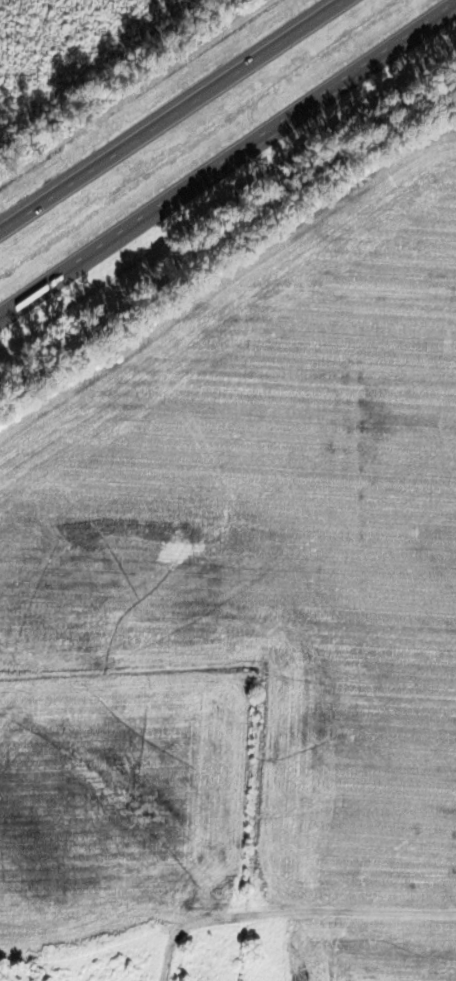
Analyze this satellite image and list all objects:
road: (181, 120)
road: (228, 164)
road: (201, 891)

